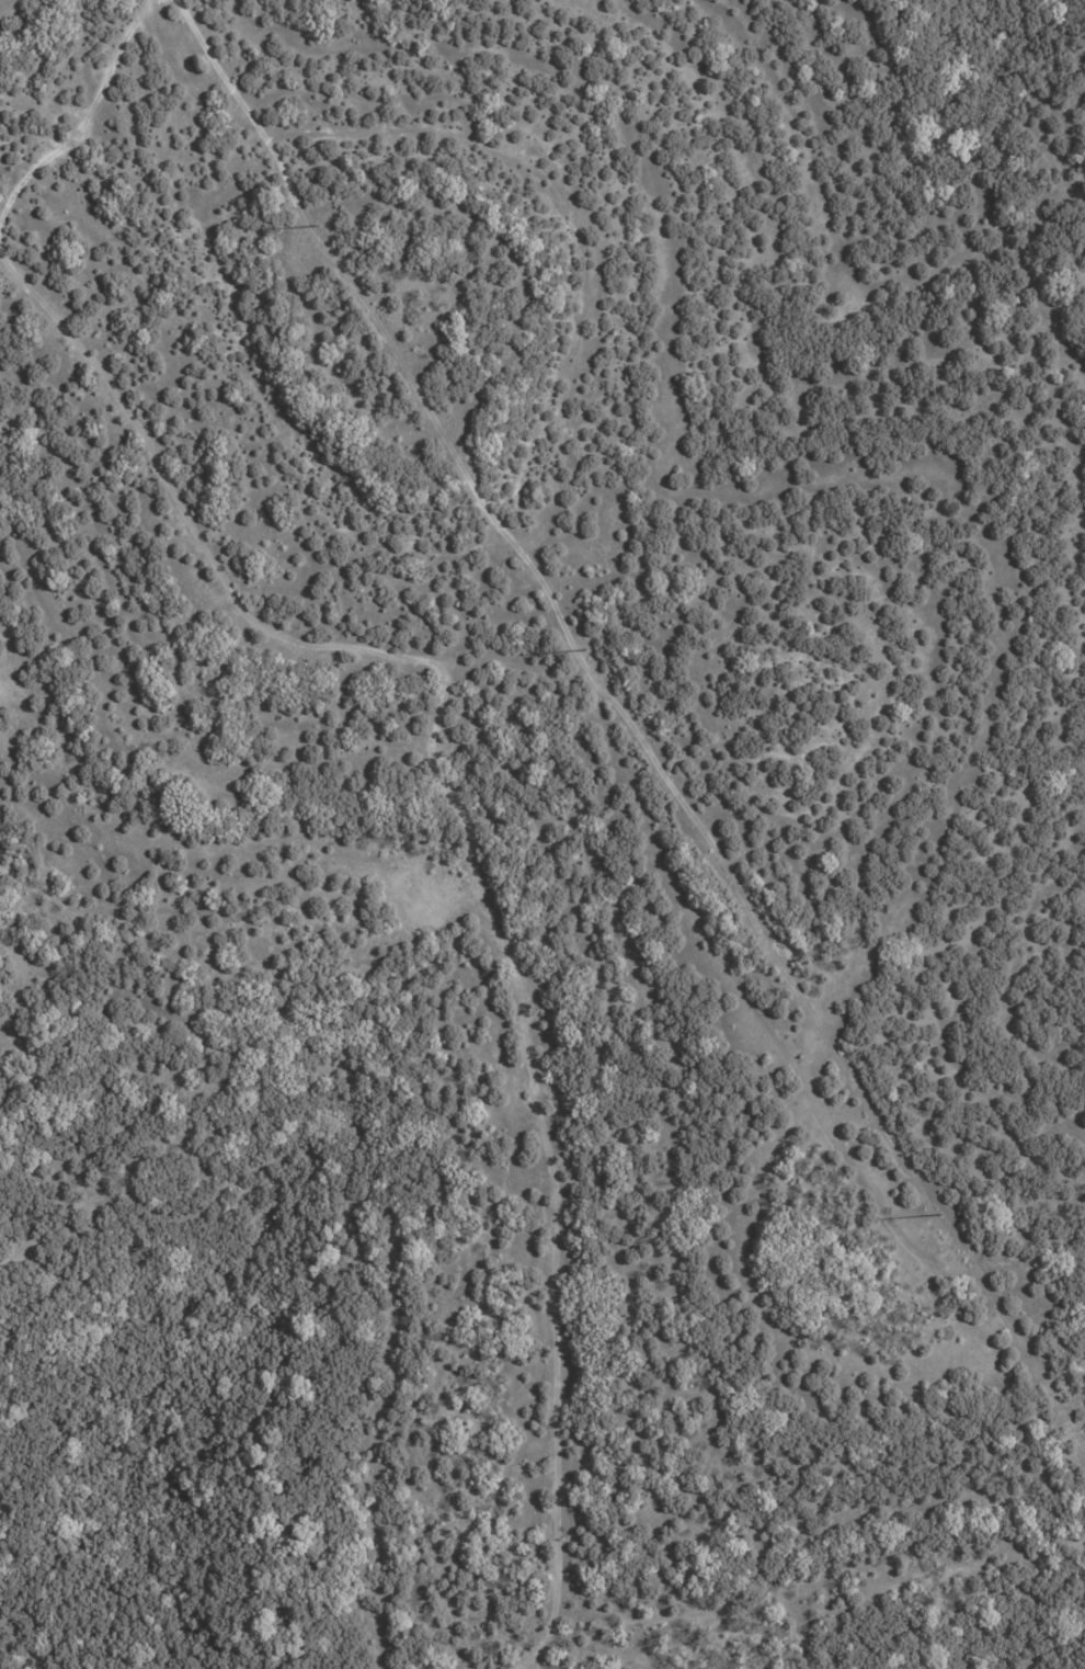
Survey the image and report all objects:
road: (83, 117)
power tower: (318, 225)
power tower: (583, 649)
road: (466, 849)

